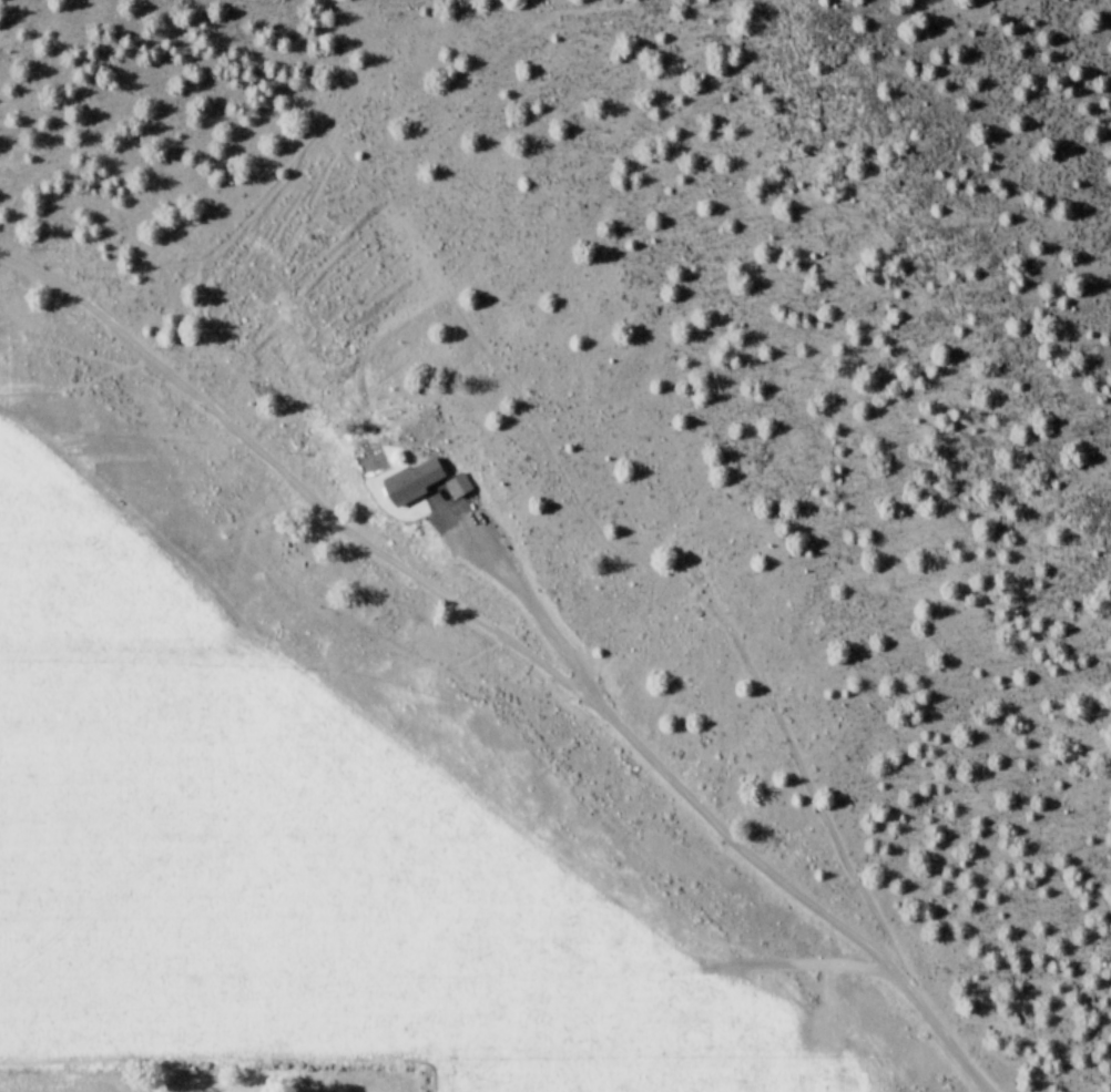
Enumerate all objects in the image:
building: (408, 482)
building: (455, 487)
road: (523, 602)
road: (516, 650)

